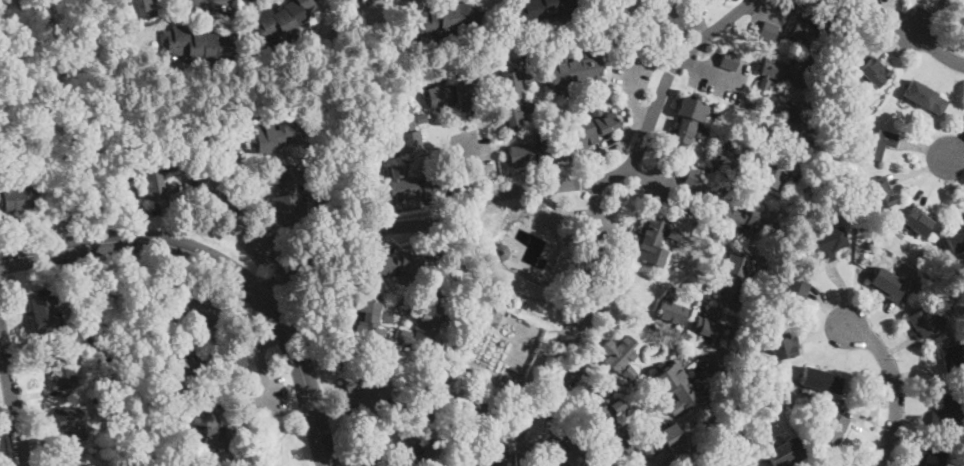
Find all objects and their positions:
road: (215, 0)
building: (366, 0)
building: (370, 0)
building: (837, 1)
building: (141, 7)
building: (545, 11)
building: (450, 19)
building: (280, 20)
building: (816, 28)
building: (768, 31)
building: (675, 33)
building: (198, 44)
road: (935, 48)
building: (791, 49)
building: (730, 60)
road: (711, 70)
building: (576, 72)
building: (874, 72)
building: (785, 73)
road: (630, 89)
building: (457, 94)
building: (842, 95)
building: (515, 96)
building: (925, 97)
building: (749, 105)
building: (556, 106)
building: (690, 121)
building: (790, 121)
building: (593, 126)
building: (404, 130)
building: (276, 135)
building: (377, 139)
building: (215, 143)
building: (877, 143)
road: (956, 150)
building: (535, 152)
building: (725, 156)
building: (31, 168)
road: (474, 169)
building: (159, 174)
building: (693, 179)
building: (771, 179)
building: (415, 185)
road: (662, 187)
road: (539, 188)
building: (728, 189)
building: (877, 192)
building: (287, 194)
building: (17, 198)
building: (214, 199)
building: (803, 208)
building: (740, 221)
building: (916, 222)
building: (673, 234)
building: (633, 238)
road: (25, 239)
building: (956, 241)
building: (653, 243)
building: (828, 243)
building: (500, 252)
building: (396, 264)
road: (223, 268)
building: (947, 272)
road: (21, 275)
building: (926, 278)
road: (1, 279)
building: (734, 279)
building: (373, 282)
building: (604, 285)
building: (888, 285)
building: (795, 293)
building: (46, 307)
building: (193, 309)
building: (672, 309)
building: (407, 311)
building: (426, 322)
building: (919, 323)
building: (366, 324)
building: (708, 325)
road: (571, 326)
building: (783, 345)
building: (620, 356)
building: (952, 356)
road: (259, 362)
building: (212, 366)
building: (580, 368)
building: (470, 371)
building: (63, 372)
building: (823, 380)
building: (779, 382)
building: (352, 384)
building: (760, 384)
building: (677, 387)
road: (896, 388)
building: (792, 395)
road: (12, 400)
building: (452, 405)
building: (948, 413)
building: (737, 416)
building: (210, 423)
building: (71, 424)
building: (832, 425)
building: (612, 427)
road: (5, 436)
building: (733, 440)
building: (674, 445)
building: (414, 450)
building: (569, 452)
building: (786, 453)
building: (488, 455)
building: (932, 457)
building: (610, 464)
building: (90, 465)
building: (746, 465)

